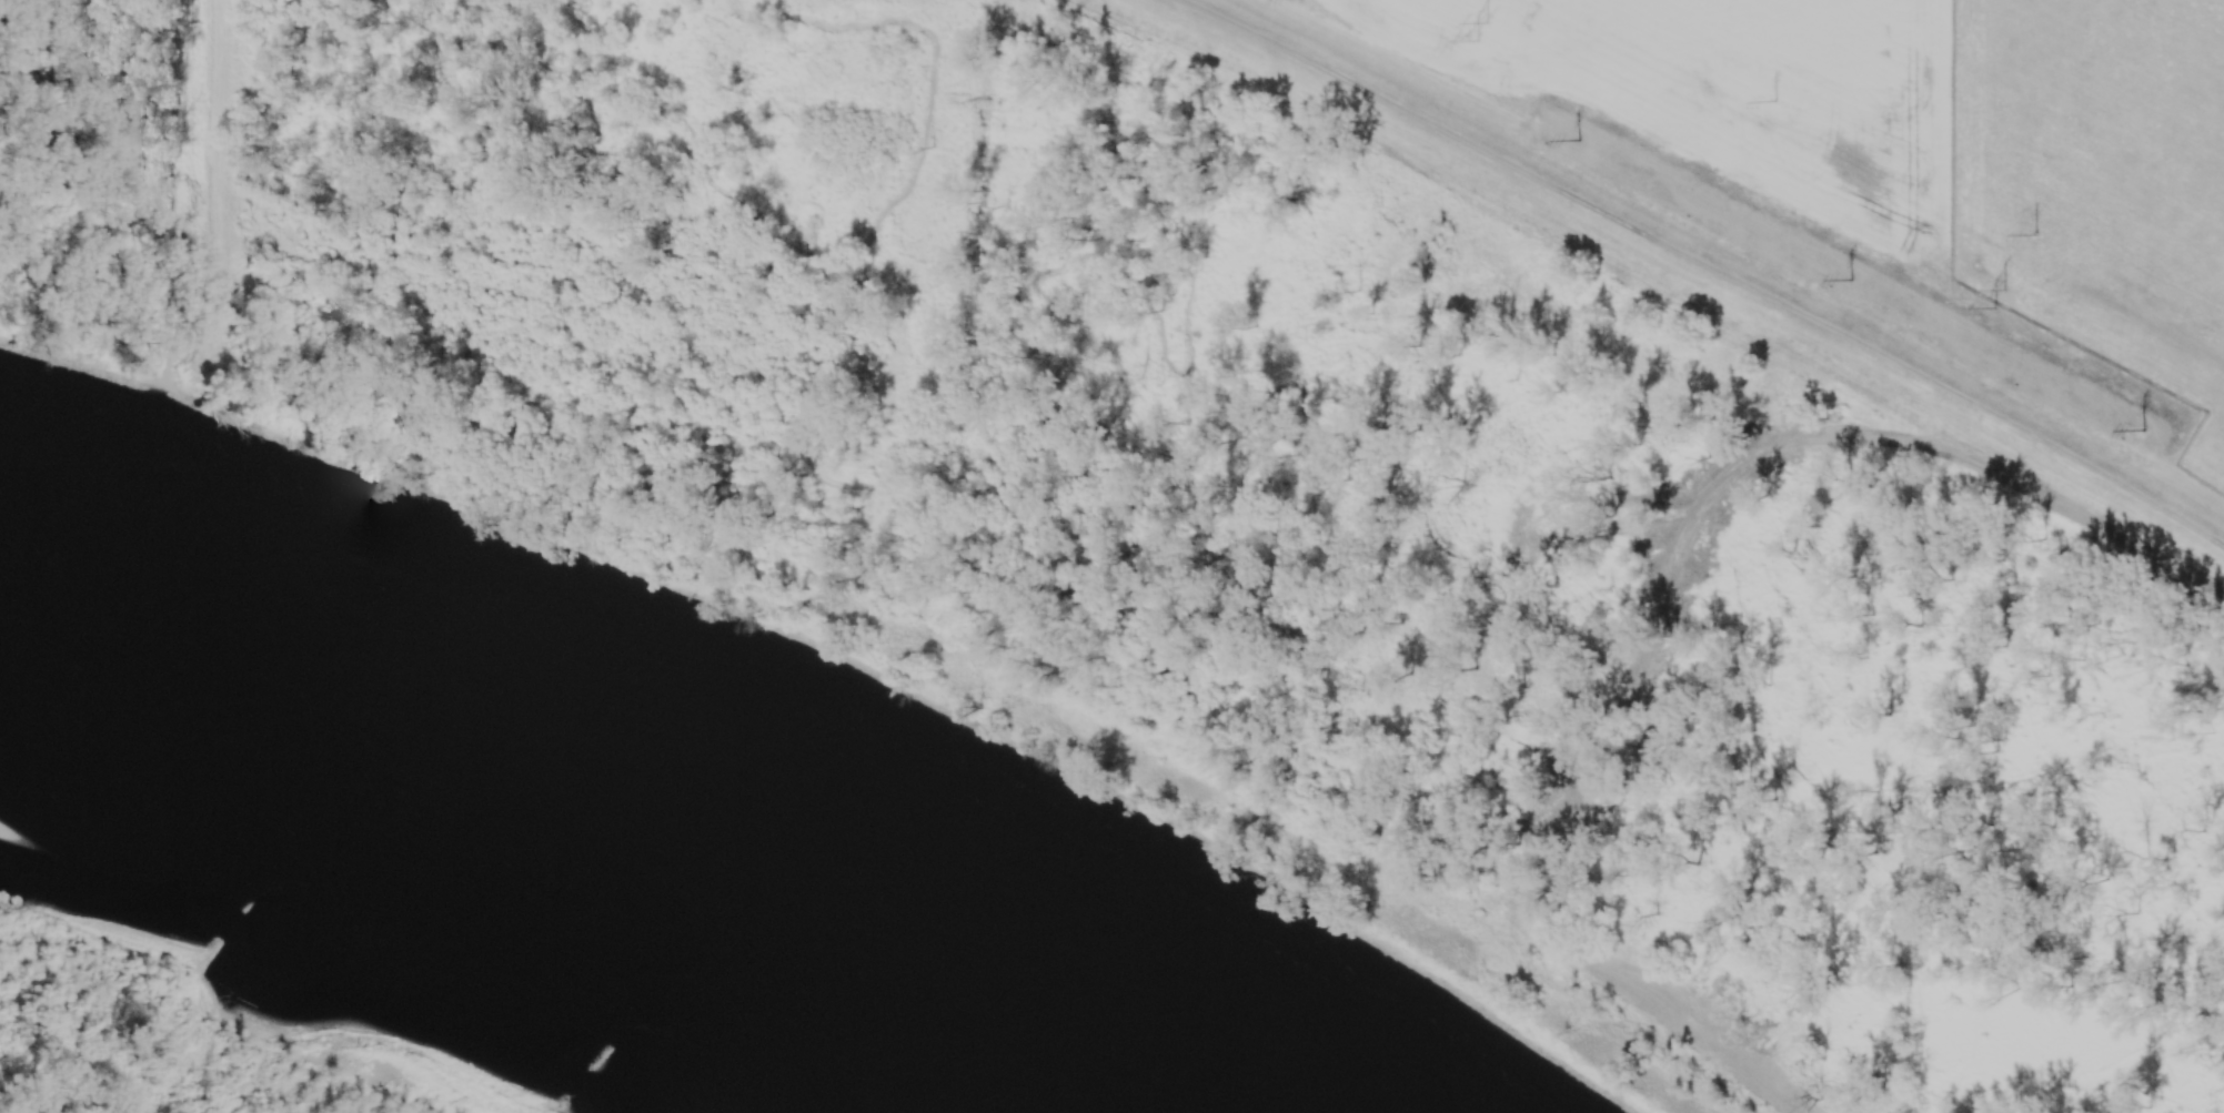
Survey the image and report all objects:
road: (497, 19)
power tower: (1486, 29)
power tower: (1778, 97)
road: (373, 108)
power tower: (1577, 140)
road: (749, 195)
power tower: (2035, 235)
power tower: (1852, 281)
park: (555, 283)
power tower: (2002, 296)
power tower: (2143, 429)
road: (1712, 495)
road: (2207, 580)
road: (1800, 641)
river: (572, 856)
road: (1496, 899)
road: (1649, 1004)

